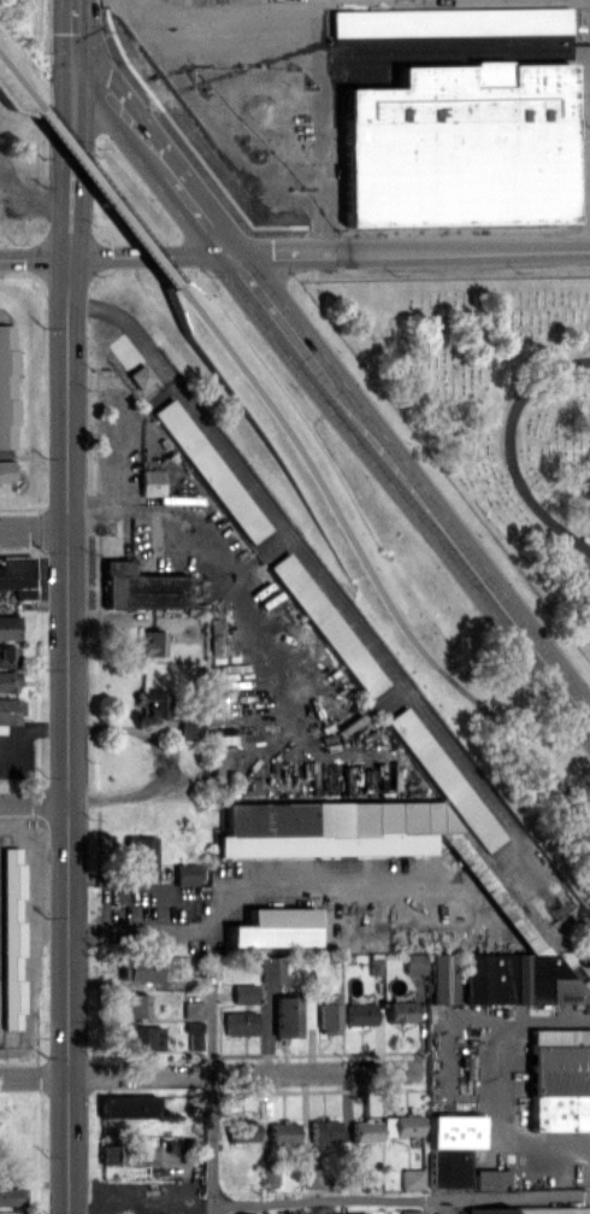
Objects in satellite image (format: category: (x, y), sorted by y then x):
traffic signals: (75, 42)
road: (16, 86)
building: (460, 146)
road: (102, 195)
road: (35, 198)
road: (294, 252)
road: (331, 382)
building: (6, 387)
park: (492, 404)
road: (508, 447)
building: (5, 469)
building: (210, 470)
building: (151, 481)
road: (34, 527)
road: (212, 546)
road: (364, 567)
building: (16, 574)
road: (320, 576)
building: (141, 587)
road: (66, 606)
building: (326, 623)
building: (151, 643)
building: (8, 656)
building: (7, 681)
building: (151, 703)
building: (8, 710)
building: (190, 728)
road: (165, 766)
building: (444, 778)
road: (33, 800)
building: (337, 828)
building: (138, 854)
building: (184, 873)
road: (230, 895)
building: (11, 911)
building: (273, 927)
building: (413, 962)
building: (271, 966)
building: (138, 968)
building: (517, 978)
building: (444, 985)
building: (136, 1004)
building: (193, 1009)
building: (400, 1010)
building: (328, 1013)
building: (359, 1014)
building: (287, 1016)
building: (241, 1022)
building: (143, 1037)
road: (208, 1073)
road: (514, 1078)
building: (560, 1079)
road: (212, 1098)
building: (128, 1105)
building: (400, 1125)
building: (242, 1130)
building: (324, 1130)
building: (365, 1131)
building: (283, 1132)
building: (452, 1148)
building: (112, 1154)
building: (313, 1177)
building: (412, 1178)
building: (489, 1179)
building: (12, 1196)
road: (400, 1196)
building: (553, 1209)
building: (486, 1210)
building: (356, 1212)
building: (411, 1212)
building: (258, 1213)

